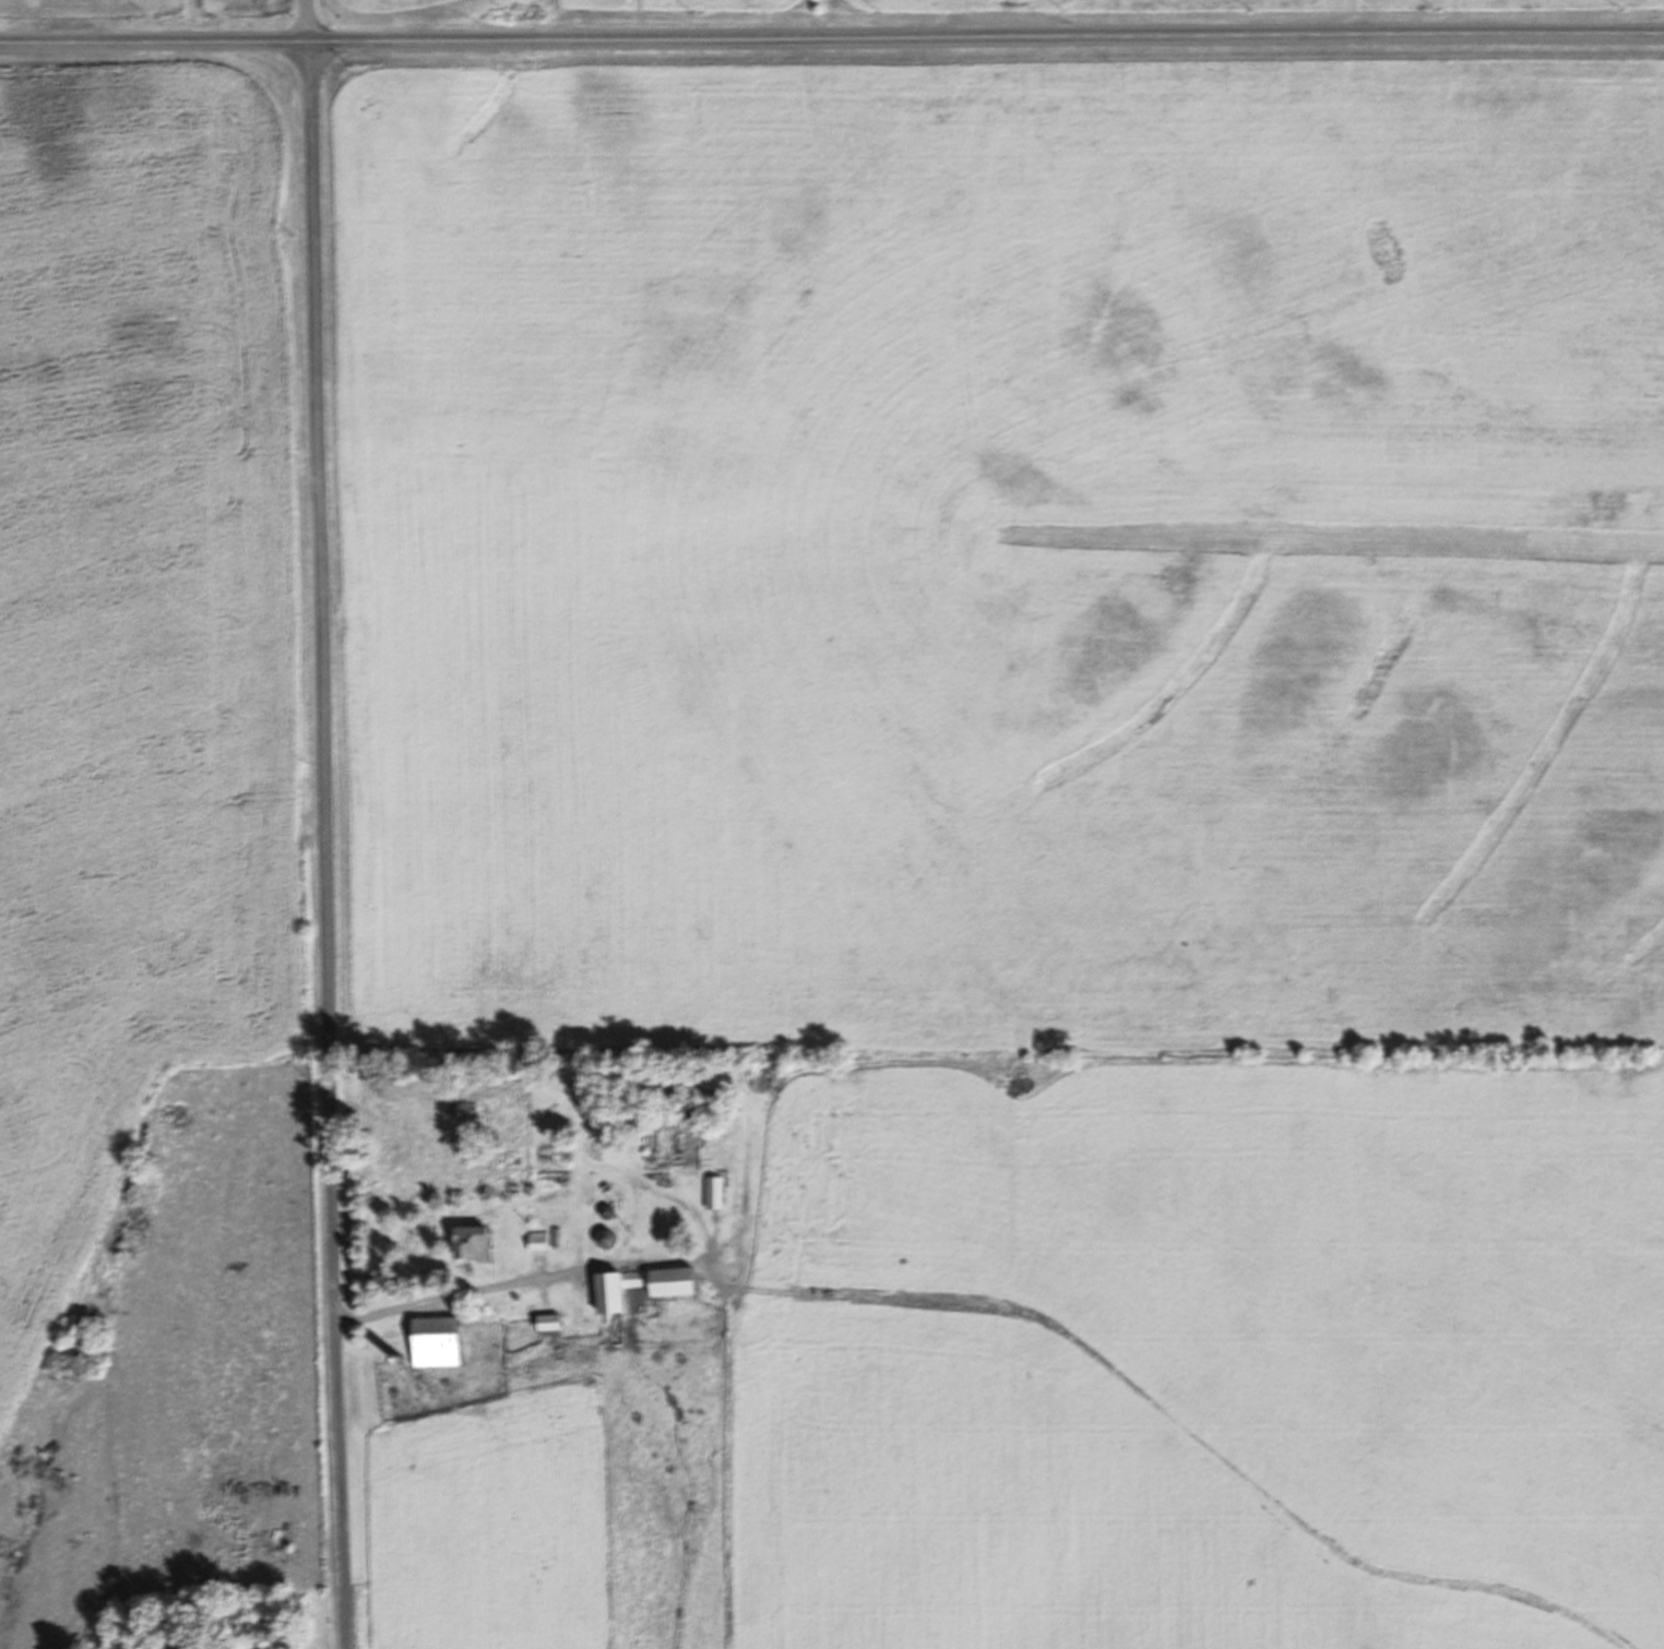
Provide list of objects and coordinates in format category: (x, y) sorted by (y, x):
road: (308, 21)
road: (831, 41)
road: (326, 845)

